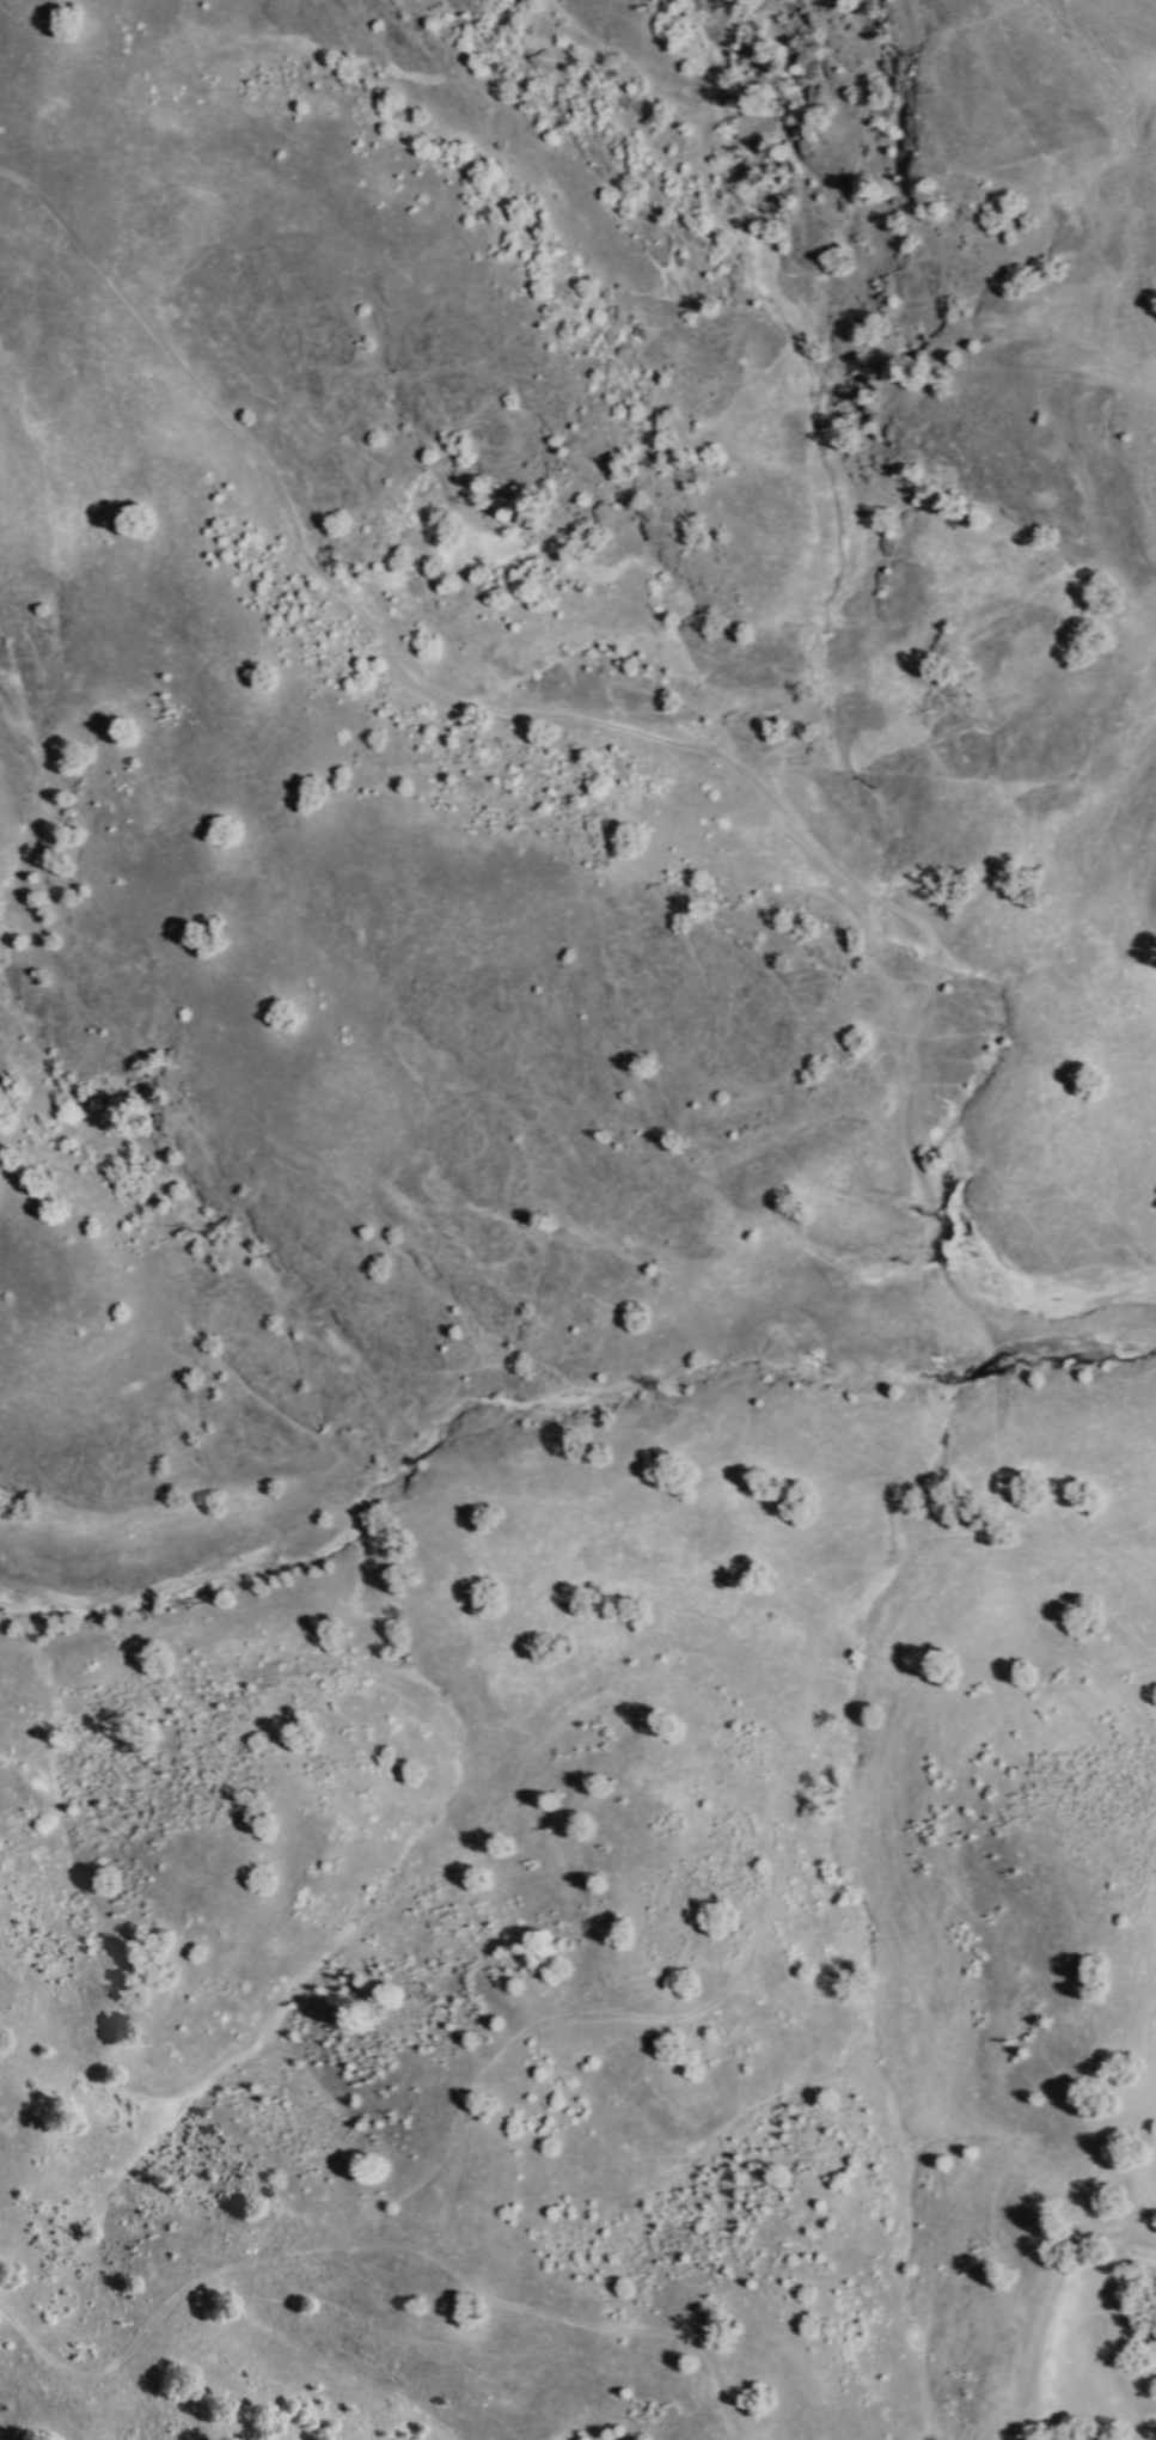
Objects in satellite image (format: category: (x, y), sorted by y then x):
road: (379, 2241)
road: (1046, 2295)

